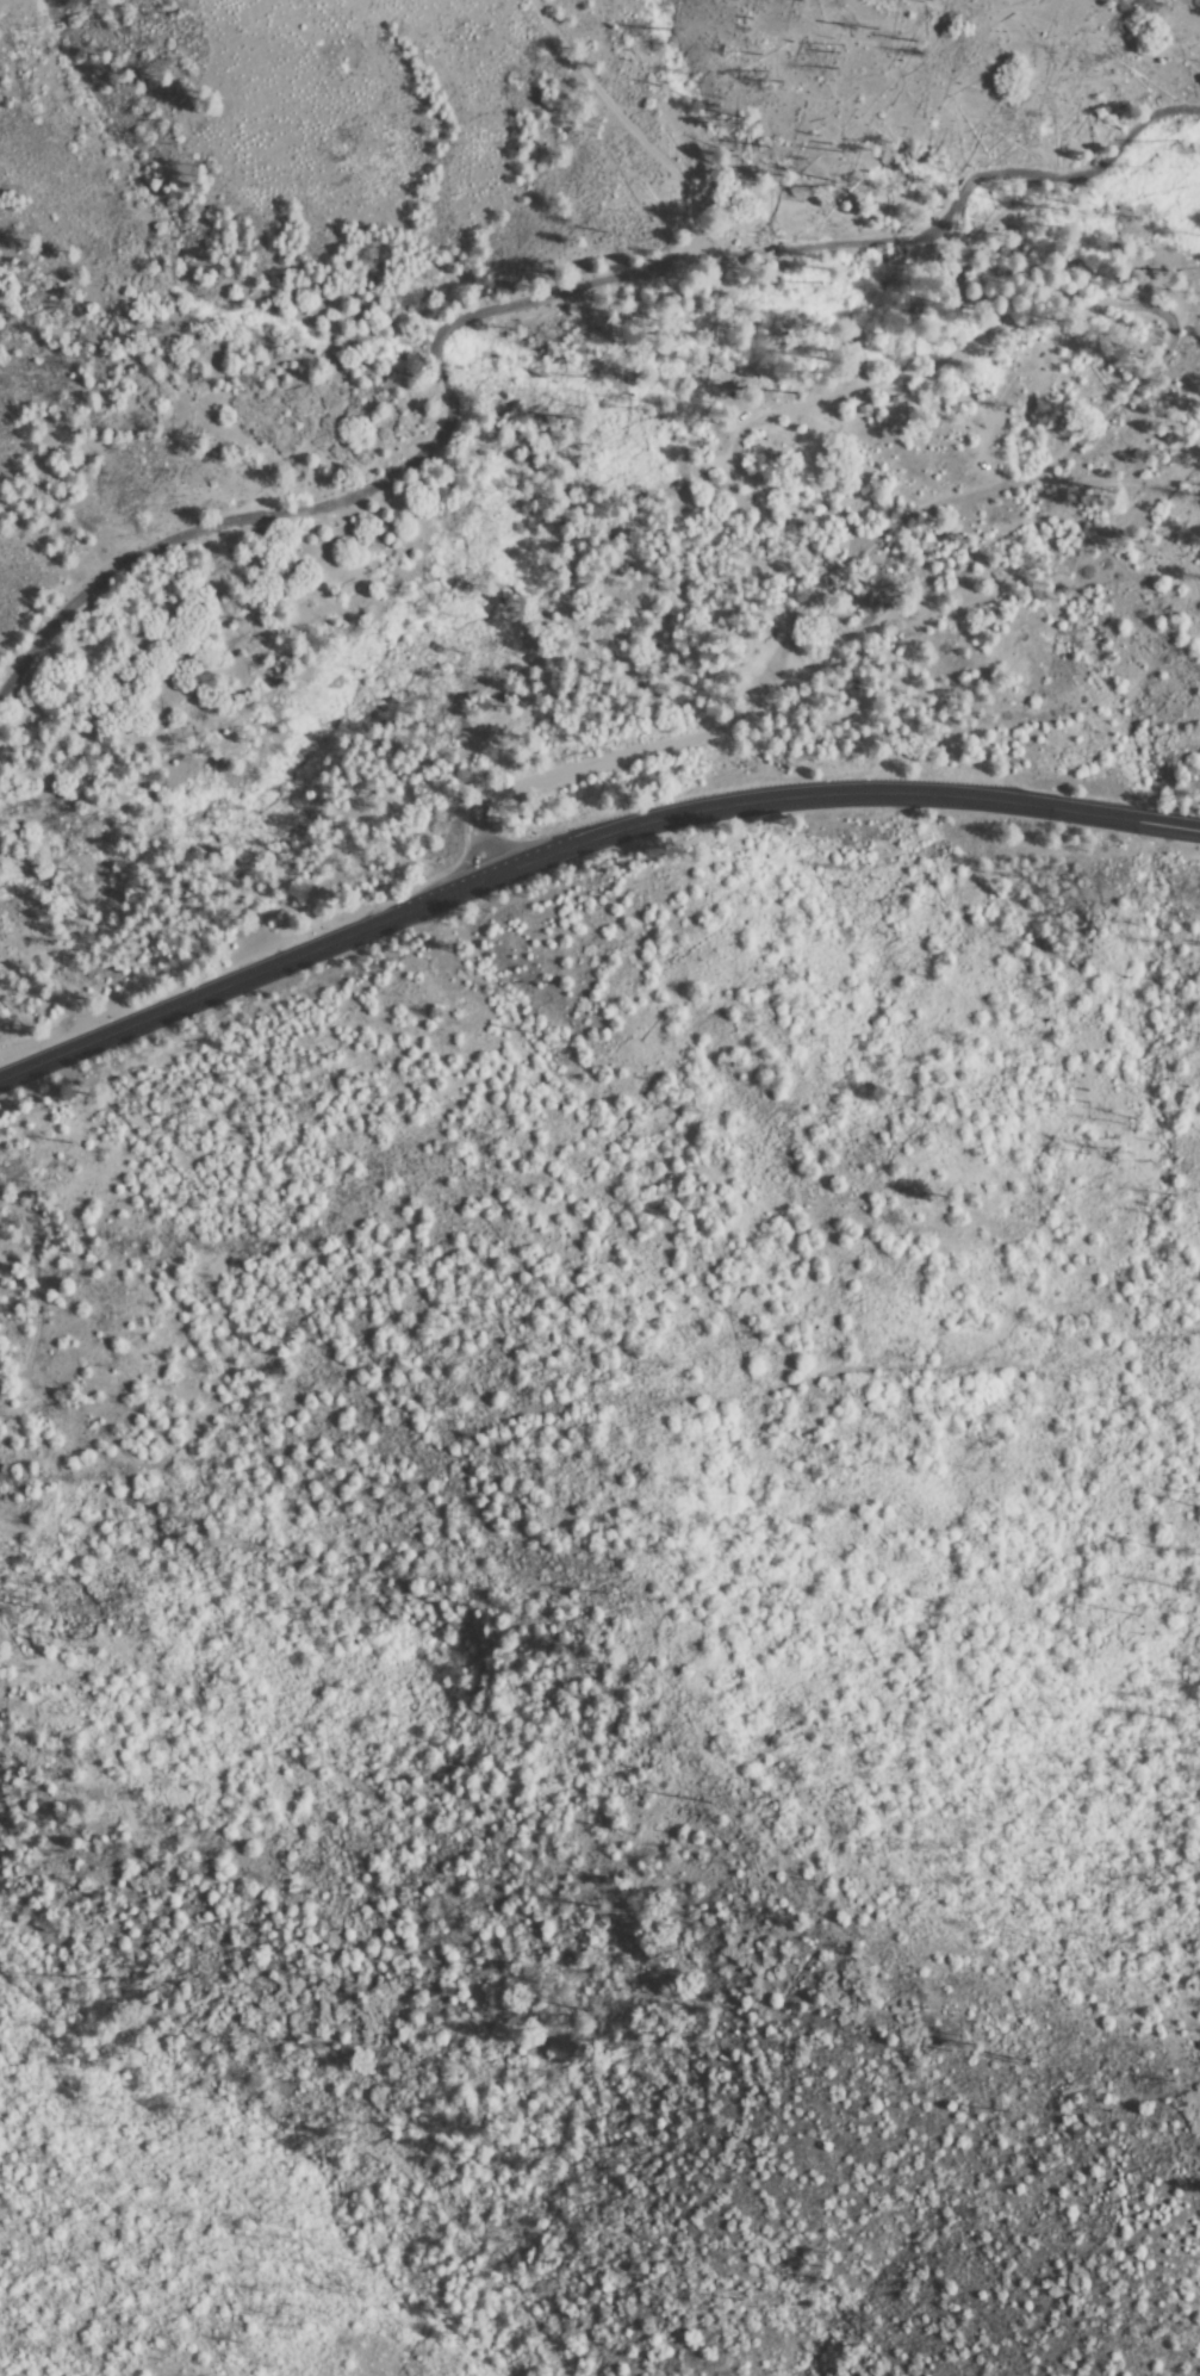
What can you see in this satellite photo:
road: (623, 128)
road: (521, 314)
road: (1012, 324)
building: (894, 401)
building: (865, 408)
road: (672, 745)
road: (582, 855)

